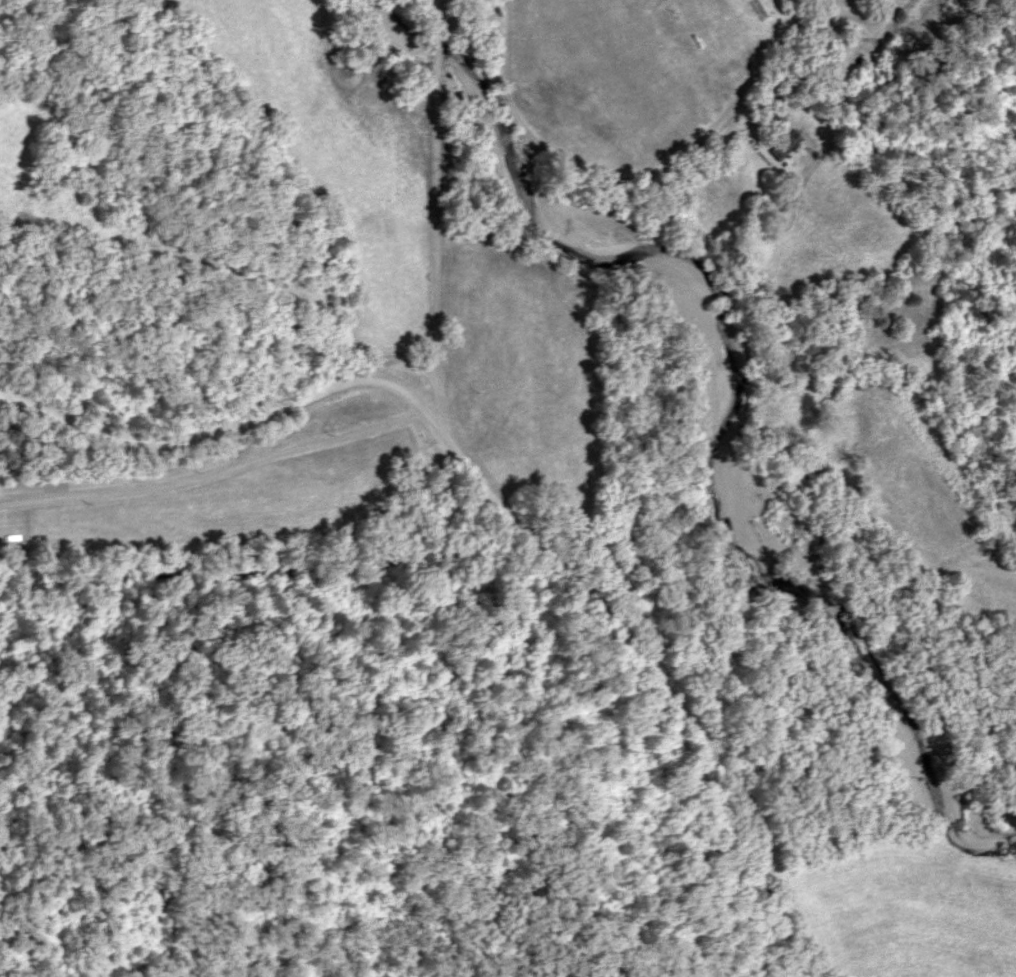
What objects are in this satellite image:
building: (783, 144)
road: (645, 173)
road: (434, 220)
road: (506, 501)

